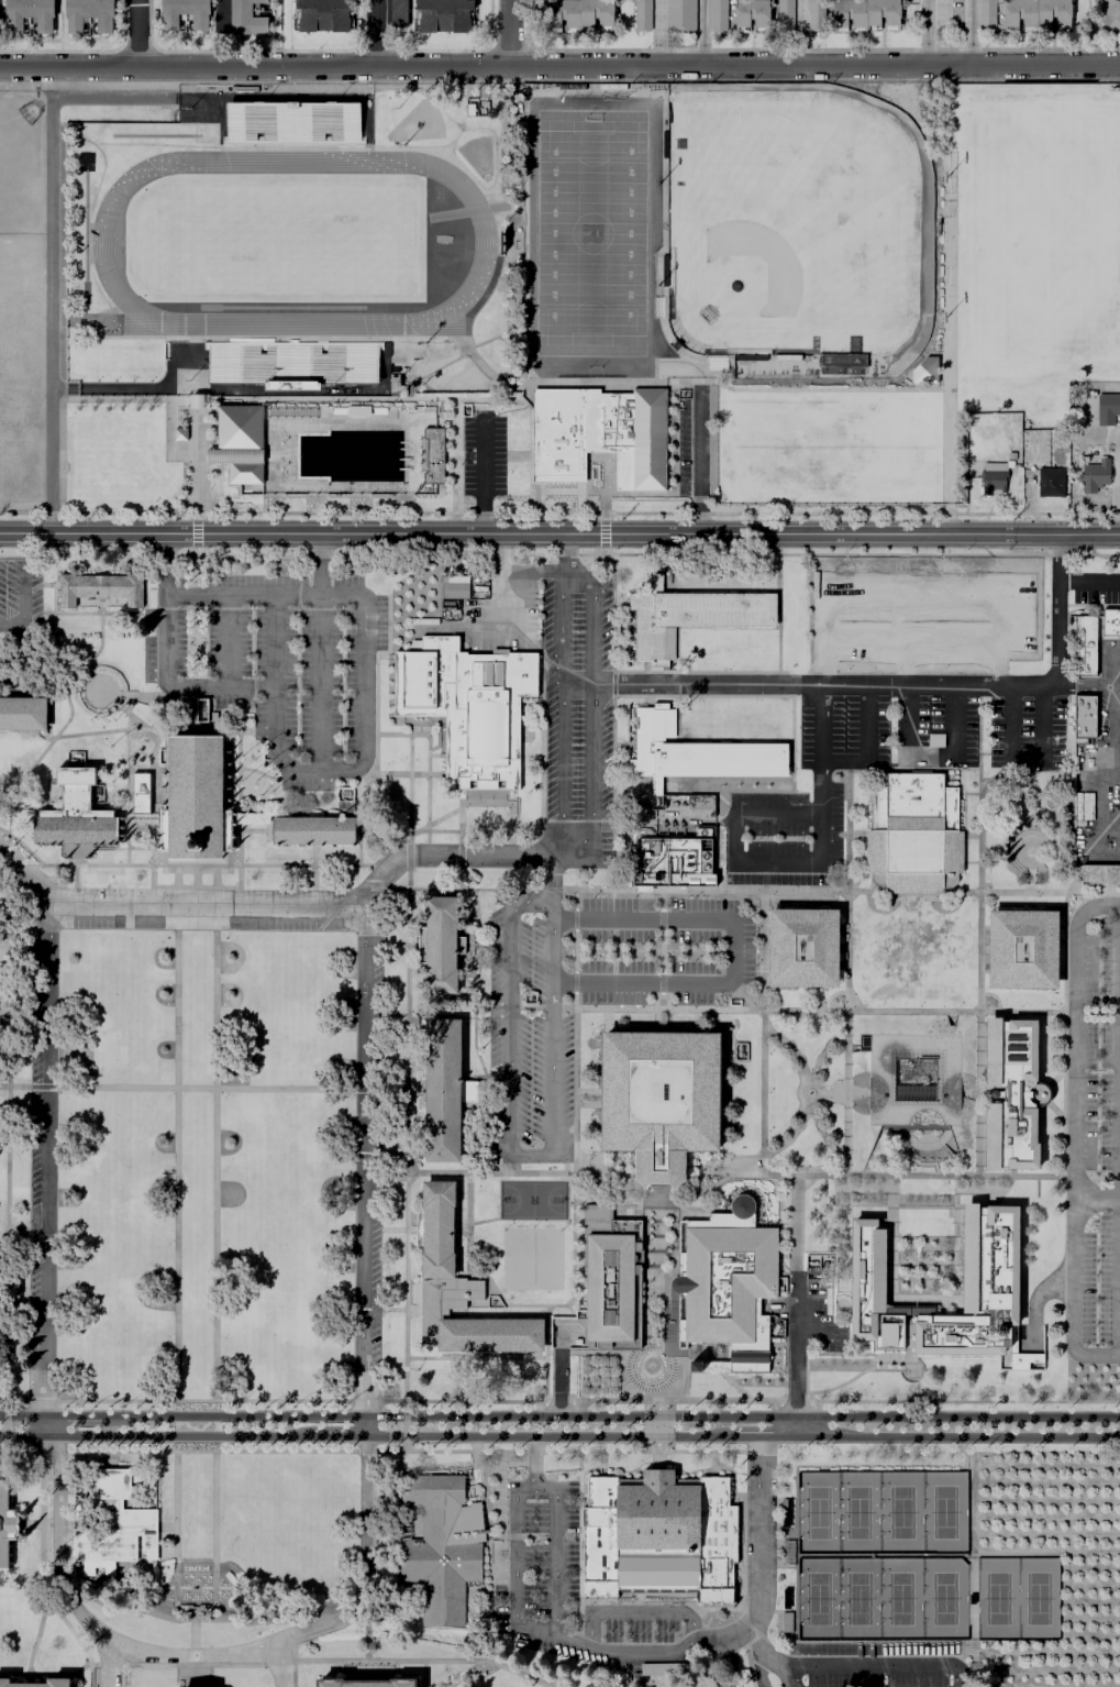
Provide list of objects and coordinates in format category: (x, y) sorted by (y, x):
building: (397, 12)
building: (319, 13)
building: (778, 13)
building: (856, 13)
building: (1030, 13)
building: (1108, 13)
building: (441, 14)
building: (983, 14)
building: (641, 15)
building: (814, 15)
building: (679, 16)
building: (717, 16)
building: (242, 18)
building: (747, 18)
building: (197, 19)
building: (576, 19)
building: (10, 23)
building: (69, 23)
road: (137, 34)
road: (929, 34)
road: (971, 34)
road: (376, 35)
road: (509, 35)
road: (707, 35)
road: (559, 70)
building: (291, 123)
road: (51, 131)
road: (443, 156)
park: (21, 159)
park: (589, 233)
park: (792, 234)
park: (291, 238)
park: (1038, 241)
track: (100, 243)
building: (663, 271)
road: (80, 321)
building: (750, 357)
building: (289, 362)
road: (949, 368)
parking lot: (20, 371)
building: (923, 371)
road: (21, 372)
road: (565, 385)
road: (25, 388)
road: (124, 388)
road: (364, 398)
road: (73, 399)
building: (1106, 407)
building: (239, 427)
road: (197, 428)
road: (531, 433)
building: (179, 434)
building: (628, 434)
building: (557, 435)
road: (168, 442)
park: (828, 448)
building: (233, 455)
building: (433, 455)
building: (421, 456)
road: (456, 456)
parking lot: (484, 456)
road: (519, 456)
road: (605, 463)
road: (700, 463)
building: (244, 473)
building: (1090, 474)
building: (986, 475)
road: (484, 476)
building: (1046, 479)
road: (1116, 486)
road: (646, 493)
road: (559, 514)
road: (559, 533)
road: (603, 534)
road: (197, 538)
road: (566, 551)
road: (557, 554)
road: (99, 565)
road: (167, 566)
road: (532, 569)
road: (499, 575)
road: (1087, 583)
road: (145, 585)
building: (100, 587)
building: (454, 587)
road: (23, 589)
parking lot: (21, 597)
road: (213, 599)
road: (99, 605)
road: (611, 609)
road: (122, 614)
building: (690, 615)
parking lot: (921, 617)
road: (196, 626)
building: (1091, 639)
road: (226, 646)
road: (274, 646)
road: (321, 653)
parking lot: (276, 665)
road: (752, 672)
building: (421, 675)
road: (376, 681)
road: (611, 684)
road: (884, 687)
road: (1084, 688)
road: (747, 696)
road: (65, 698)
road: (1116, 709)
road: (124, 712)
road: (907, 713)
building: (22, 714)
road: (162, 717)
building: (484, 717)
building: (1083, 717)
parking lot: (576, 720)
road: (432, 721)
road: (954, 724)
road: (420, 725)
road: (402, 737)
road: (239, 741)
road: (439, 741)
building: (934, 741)
road: (866, 747)
building: (696, 752)
road: (435, 757)
road: (1025, 760)
road: (138, 770)
road: (257, 772)
road: (403, 775)
parking lot: (825, 782)
road: (409, 790)
road: (428, 790)
road: (611, 793)
building: (138, 794)
road: (126, 796)
building: (195, 800)
road: (1098, 800)
road: (485, 803)
building: (699, 803)
building: (1082, 808)
road: (542, 813)
building: (75, 814)
building: (138, 817)
road: (358, 818)
road: (433, 822)
road: (255, 830)
building: (313, 831)
road: (390, 831)
building: (912, 833)
road: (151, 837)
road: (20, 846)
road: (138, 849)
road: (389, 850)
road: (459, 854)
road: (408, 856)
road: (580, 856)
road: (979, 856)
road: (445, 857)
road: (9, 859)
building: (673, 862)
road: (24, 864)
road: (795, 864)
road: (75, 865)
road: (259, 865)
road: (314, 867)
road: (552, 869)
road: (27, 873)
road: (175, 875)
road: (195, 875)
road: (214, 875)
building: (1099, 876)
road: (459, 879)
road: (4, 882)
road: (193, 886)
road: (456, 890)
road: (545, 890)
road: (576, 890)
road: (841, 892)
road: (846, 893)
road: (663, 901)
road: (206, 907)
parking lot: (204, 909)
road: (576, 919)
road: (662, 922)
road: (13, 939)
road: (400, 944)
building: (439, 945)
building: (802, 947)
road: (735, 949)
building: (1021, 949)
road: (575, 951)
road: (648, 951)
road: (662, 952)
road: (743, 952)
road: (477, 953)
road: (576, 983)
road: (662, 984)
parking lot: (590, 994)
road: (746, 995)
road: (662, 1002)
road: (529, 1008)
road: (551, 1008)
road: (501, 1012)
road: (811, 1012)
road: (395, 1015)
road: (446, 1017)
road: (763, 1034)
road: (1062, 1037)
road: (792, 1051)
road: (822, 1054)
building: (879, 1080)
road: (212, 1088)
building: (443, 1091)
building: (1010, 1092)
road: (831, 1093)
road: (846, 1094)
road: (978, 1094)
road: (802, 1098)
road: (487, 1099)
building: (659, 1099)
road: (821, 1133)
road: (792, 1136)
road: (1072, 1136)
parking lot: (1096, 1139)
road: (7, 1142)
road: (406, 1143)
road: (576, 1150)
road: (393, 1153)
road: (175, 1154)
road: (215, 1155)
road: (519, 1156)
road: (364, 1162)
road: (44, 1171)
road: (723, 1177)
road: (1096, 1199)
park: (532, 1200)
road: (1118, 1228)
road: (13, 1230)
road: (398, 1230)
road: (469, 1232)
park: (533, 1259)
building: (608, 1276)
building: (728, 1283)
building: (869, 1286)
building: (457, 1287)
building: (978, 1288)
road: (921, 1299)
road: (526, 1305)
road: (796, 1305)
road: (401, 1310)
road: (12, 1327)
road: (908, 1327)
road: (655, 1335)
road: (545, 1354)
road: (901, 1355)
road: (475, 1358)
fountain: (648, 1367)
road: (599, 1377)
road: (639, 1381)
road: (916, 1381)
road: (561, 1382)
road: (202, 1401)
road: (20, 1402)
road: (579, 1402)
road: (957, 1402)
road: (74, 1415)
traffic signals: (4, 1416)
road: (22, 1416)
road: (611, 1418)
traffic signals: (656, 1418)
road: (4, 1426)
road: (404, 1426)
road: (656, 1427)
traffic signals: (4, 1435)
road: (155, 1435)
road: (339, 1435)
road: (547, 1436)
traffic signals: (656, 1436)
road: (763, 1436)
road: (957, 1436)
road: (4, 1448)
road: (404, 1448)
road: (266, 1453)
road: (645, 1454)
road: (108, 1460)
road: (656, 1462)
road: (532, 1463)
road: (601, 1465)
road: (711, 1465)
road: (176, 1508)
road: (215, 1508)
park: (943, 1512)
park: (816, 1513)
park: (856, 1513)
park: (900, 1513)
building: (5, 1524)
road: (30, 1524)
building: (112, 1524)
road: (372, 1526)
road: (758, 1532)
building: (657, 1534)
road: (498, 1544)
building: (440, 1546)
parking lot: (541, 1546)
building: (786, 1552)
road: (552, 1553)
road: (514, 1568)
road: (43, 1575)
park: (817, 1599)
park: (856, 1599)
park: (899, 1599)
park: (942, 1599)
park: (996, 1599)
park: (1036, 1599)
road: (666, 1602)
road: (196, 1612)
road: (639, 1614)
building: (785, 1622)
road: (743, 1625)
road: (326, 1630)
road: (36, 1635)
road: (197, 1638)
road: (731, 1651)
road: (656, 1652)
road: (217, 1655)
road: (367, 1656)
road: (767, 1656)
road: (759, 1657)
road: (108, 1663)
road: (286, 1663)
road: (423, 1663)
road: (280, 1664)
road: (109, 1665)
road: (182, 1665)
parking lot: (872, 1665)
road: (885, 1665)
road: (747, 1669)
road: (46, 1673)
road: (295, 1675)
road: (423, 1675)
road: (467, 1675)
road: (198, 1676)
road: (794, 1676)
building: (58, 1683)
building: (366, 1683)

